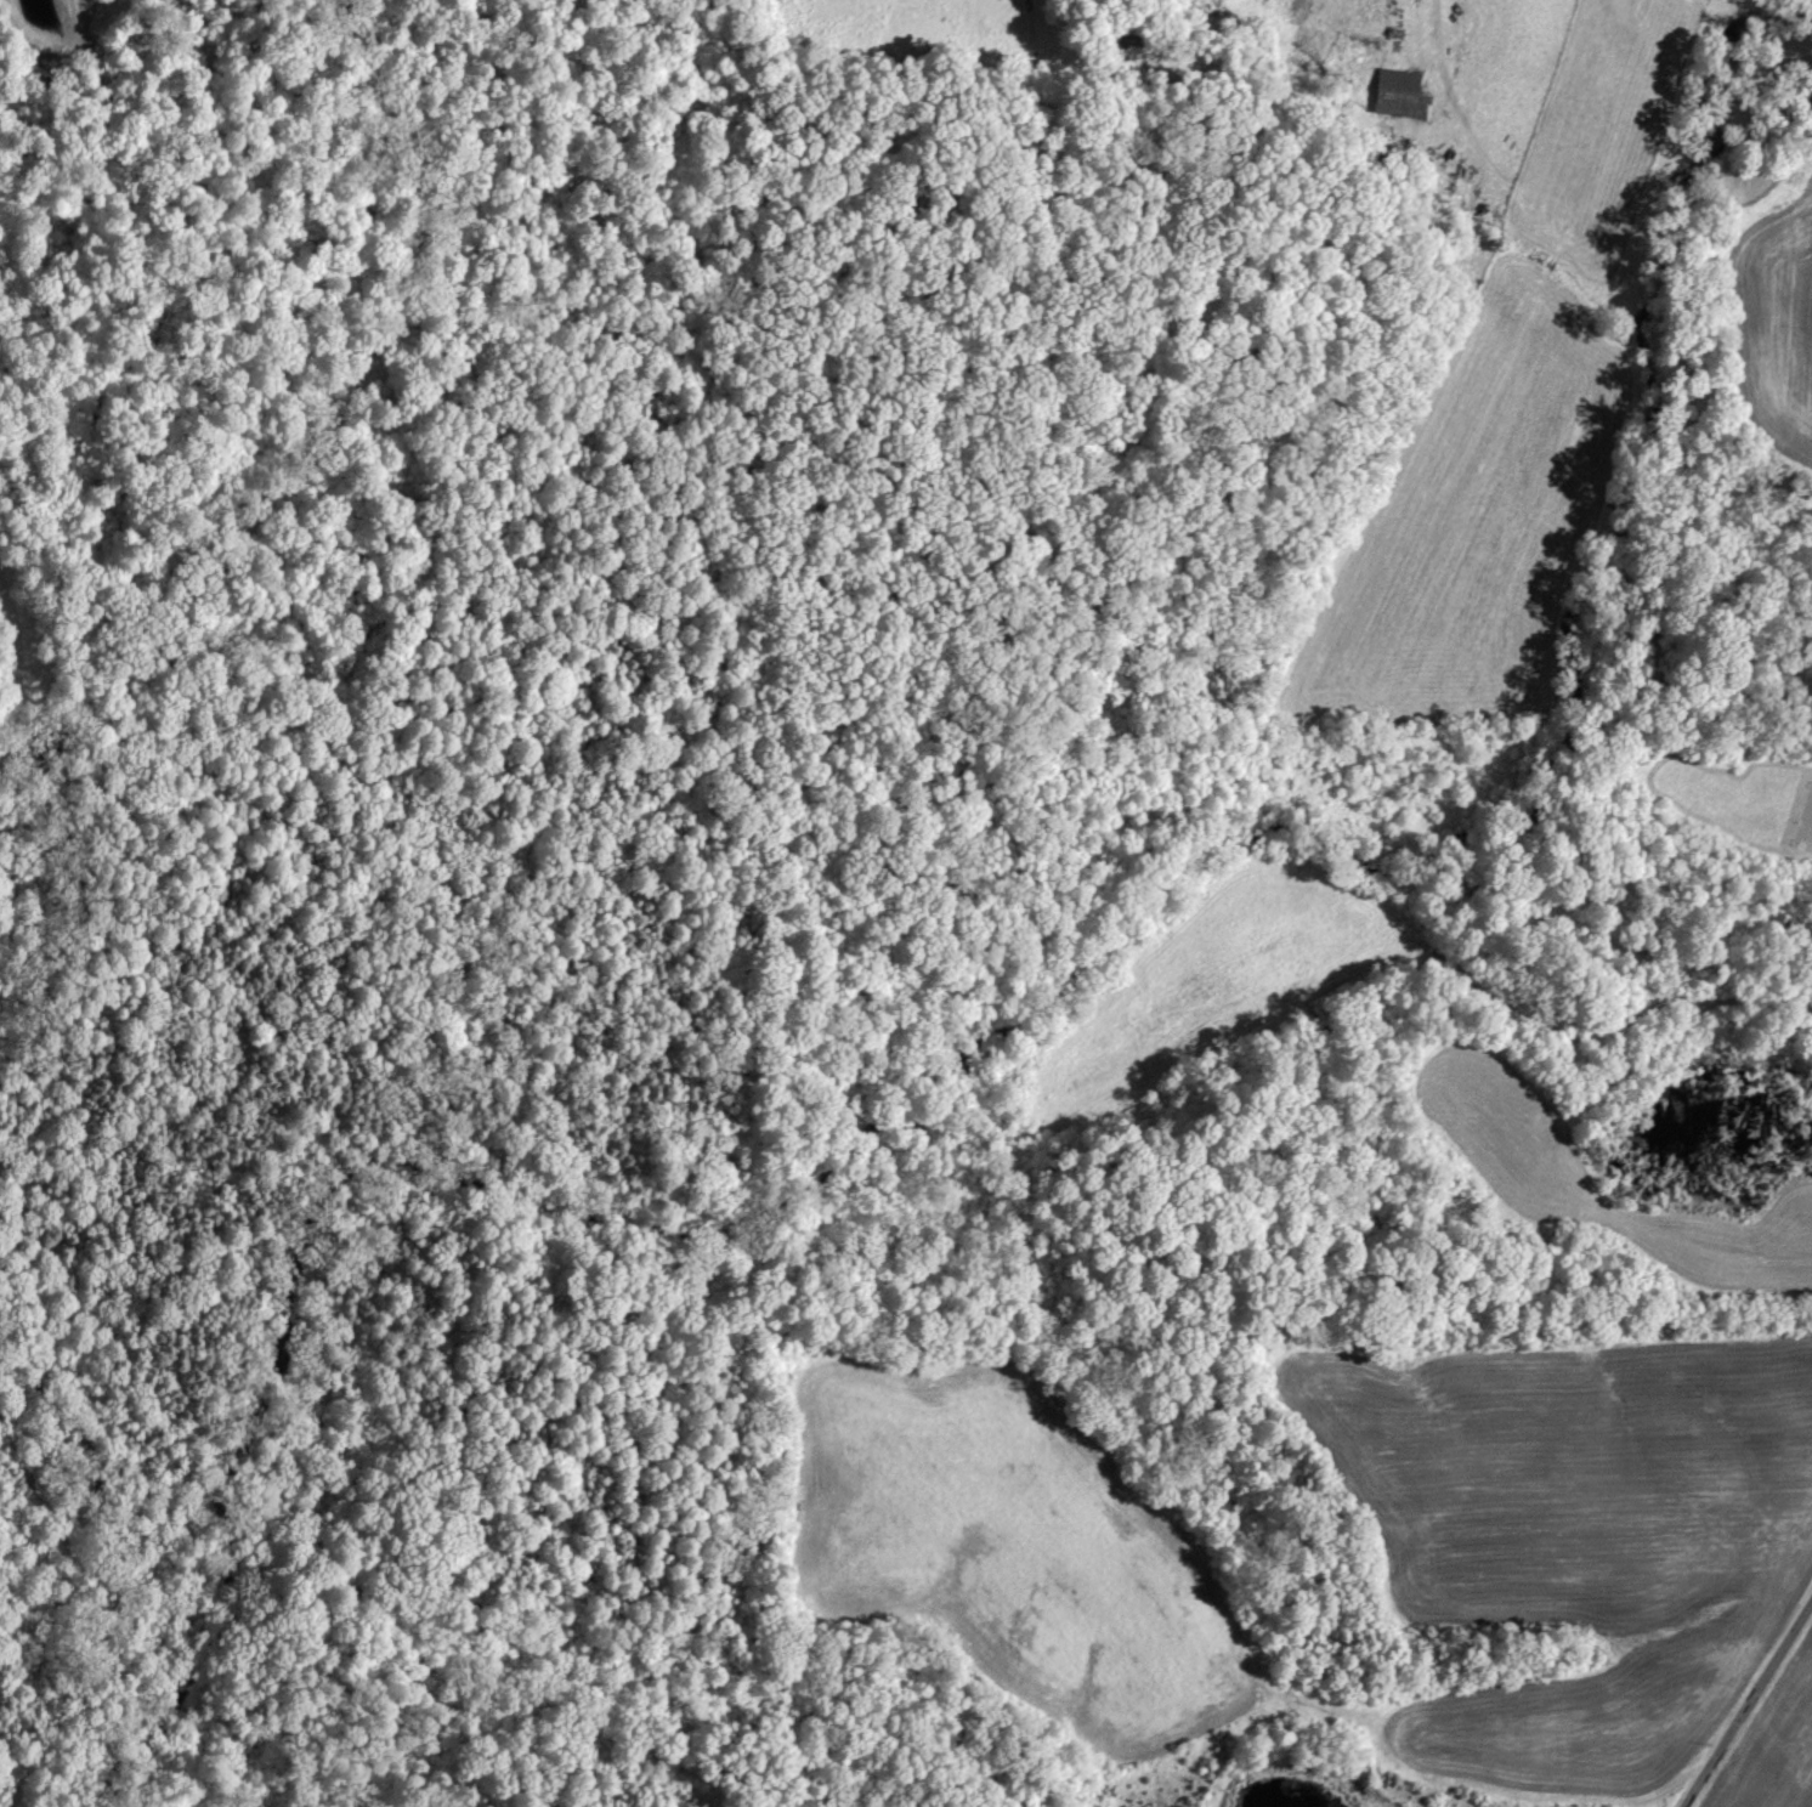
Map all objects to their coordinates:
building: (1403, 95)
road: (1745, 1700)

